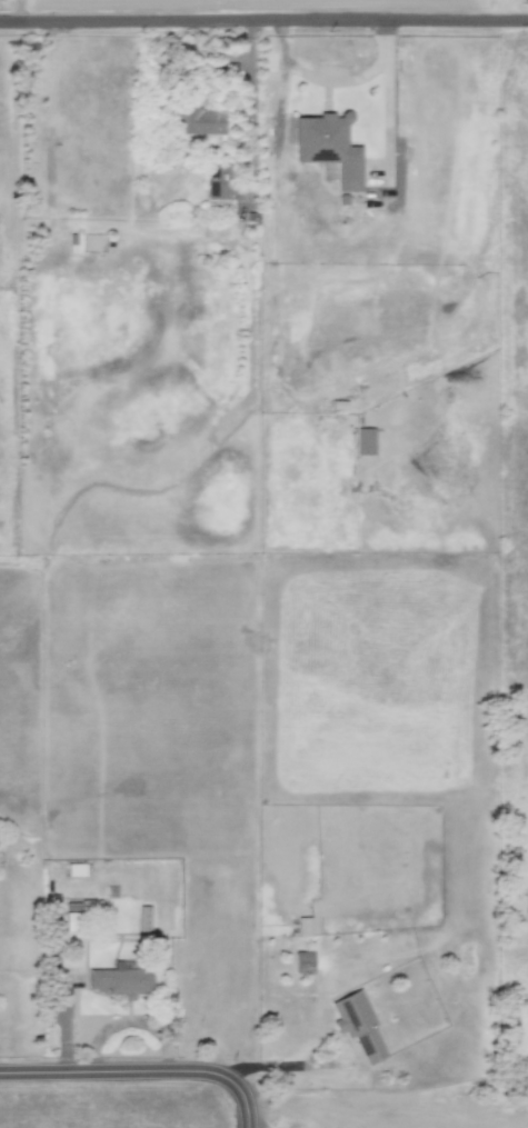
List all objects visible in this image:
road: (20, 12)
road: (263, 22)
road: (251, 110)
building: (198, 121)
building: (329, 146)
building: (218, 180)
building: (73, 242)
building: (363, 441)
building: (76, 869)
building: (143, 918)
building: (302, 926)
building: (302, 961)
building: (122, 980)
building: (357, 1024)
road: (141, 1072)

